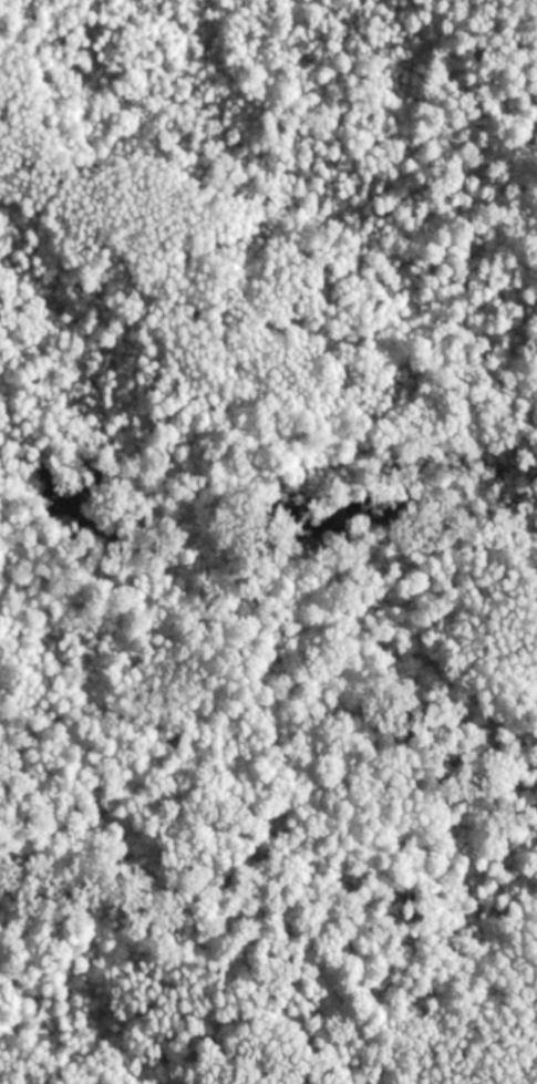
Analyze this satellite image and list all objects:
park: (268, 541)

